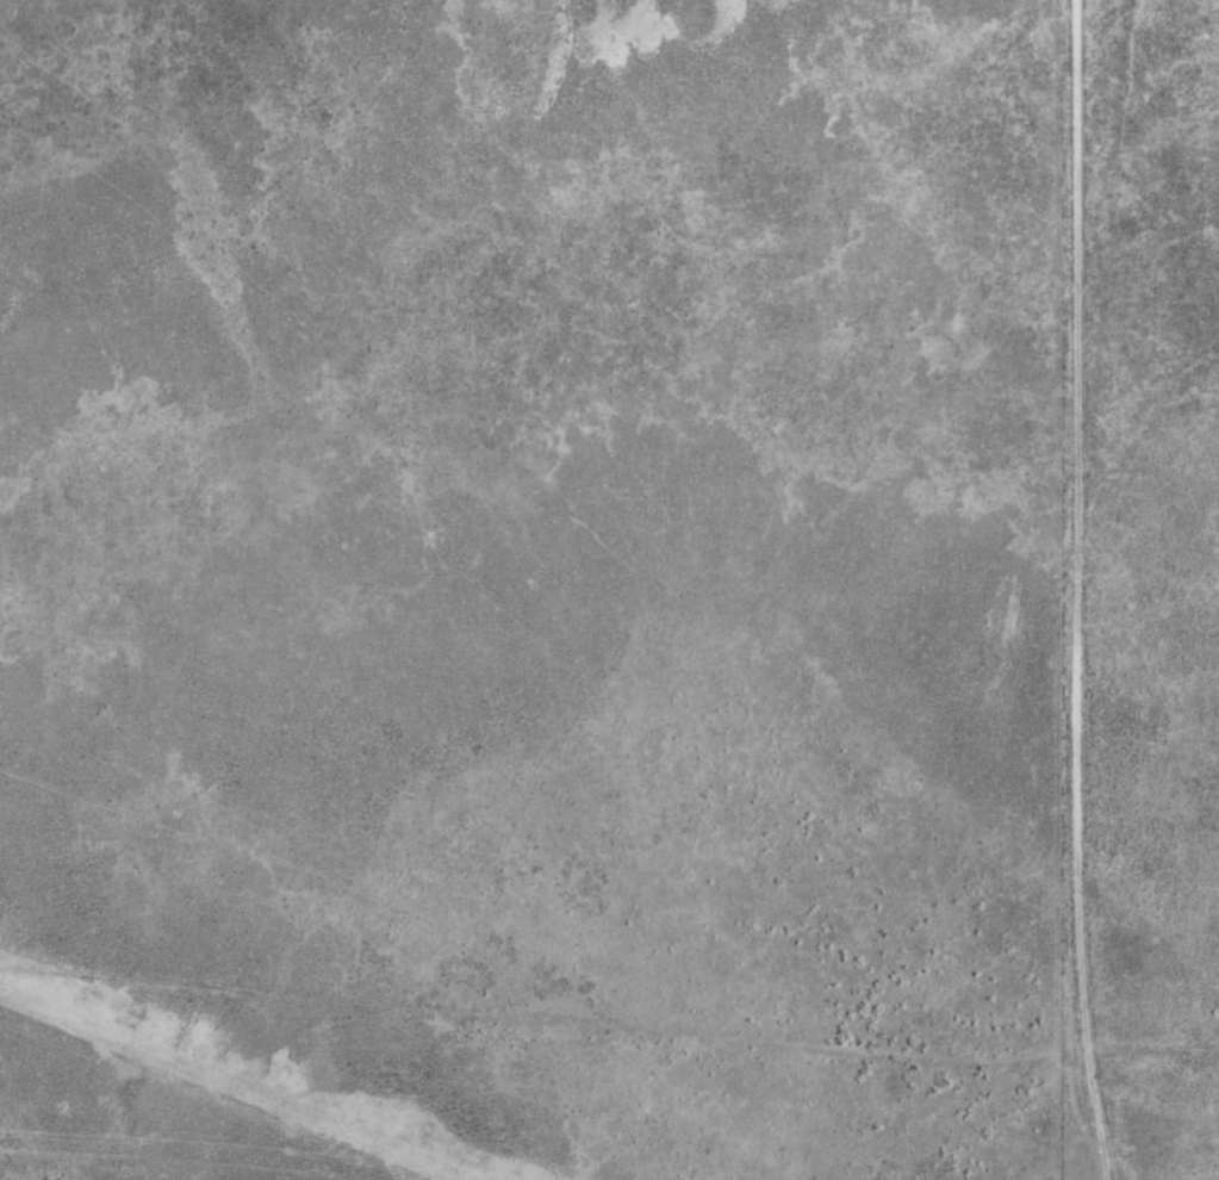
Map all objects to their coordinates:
road: (1096, 590)

